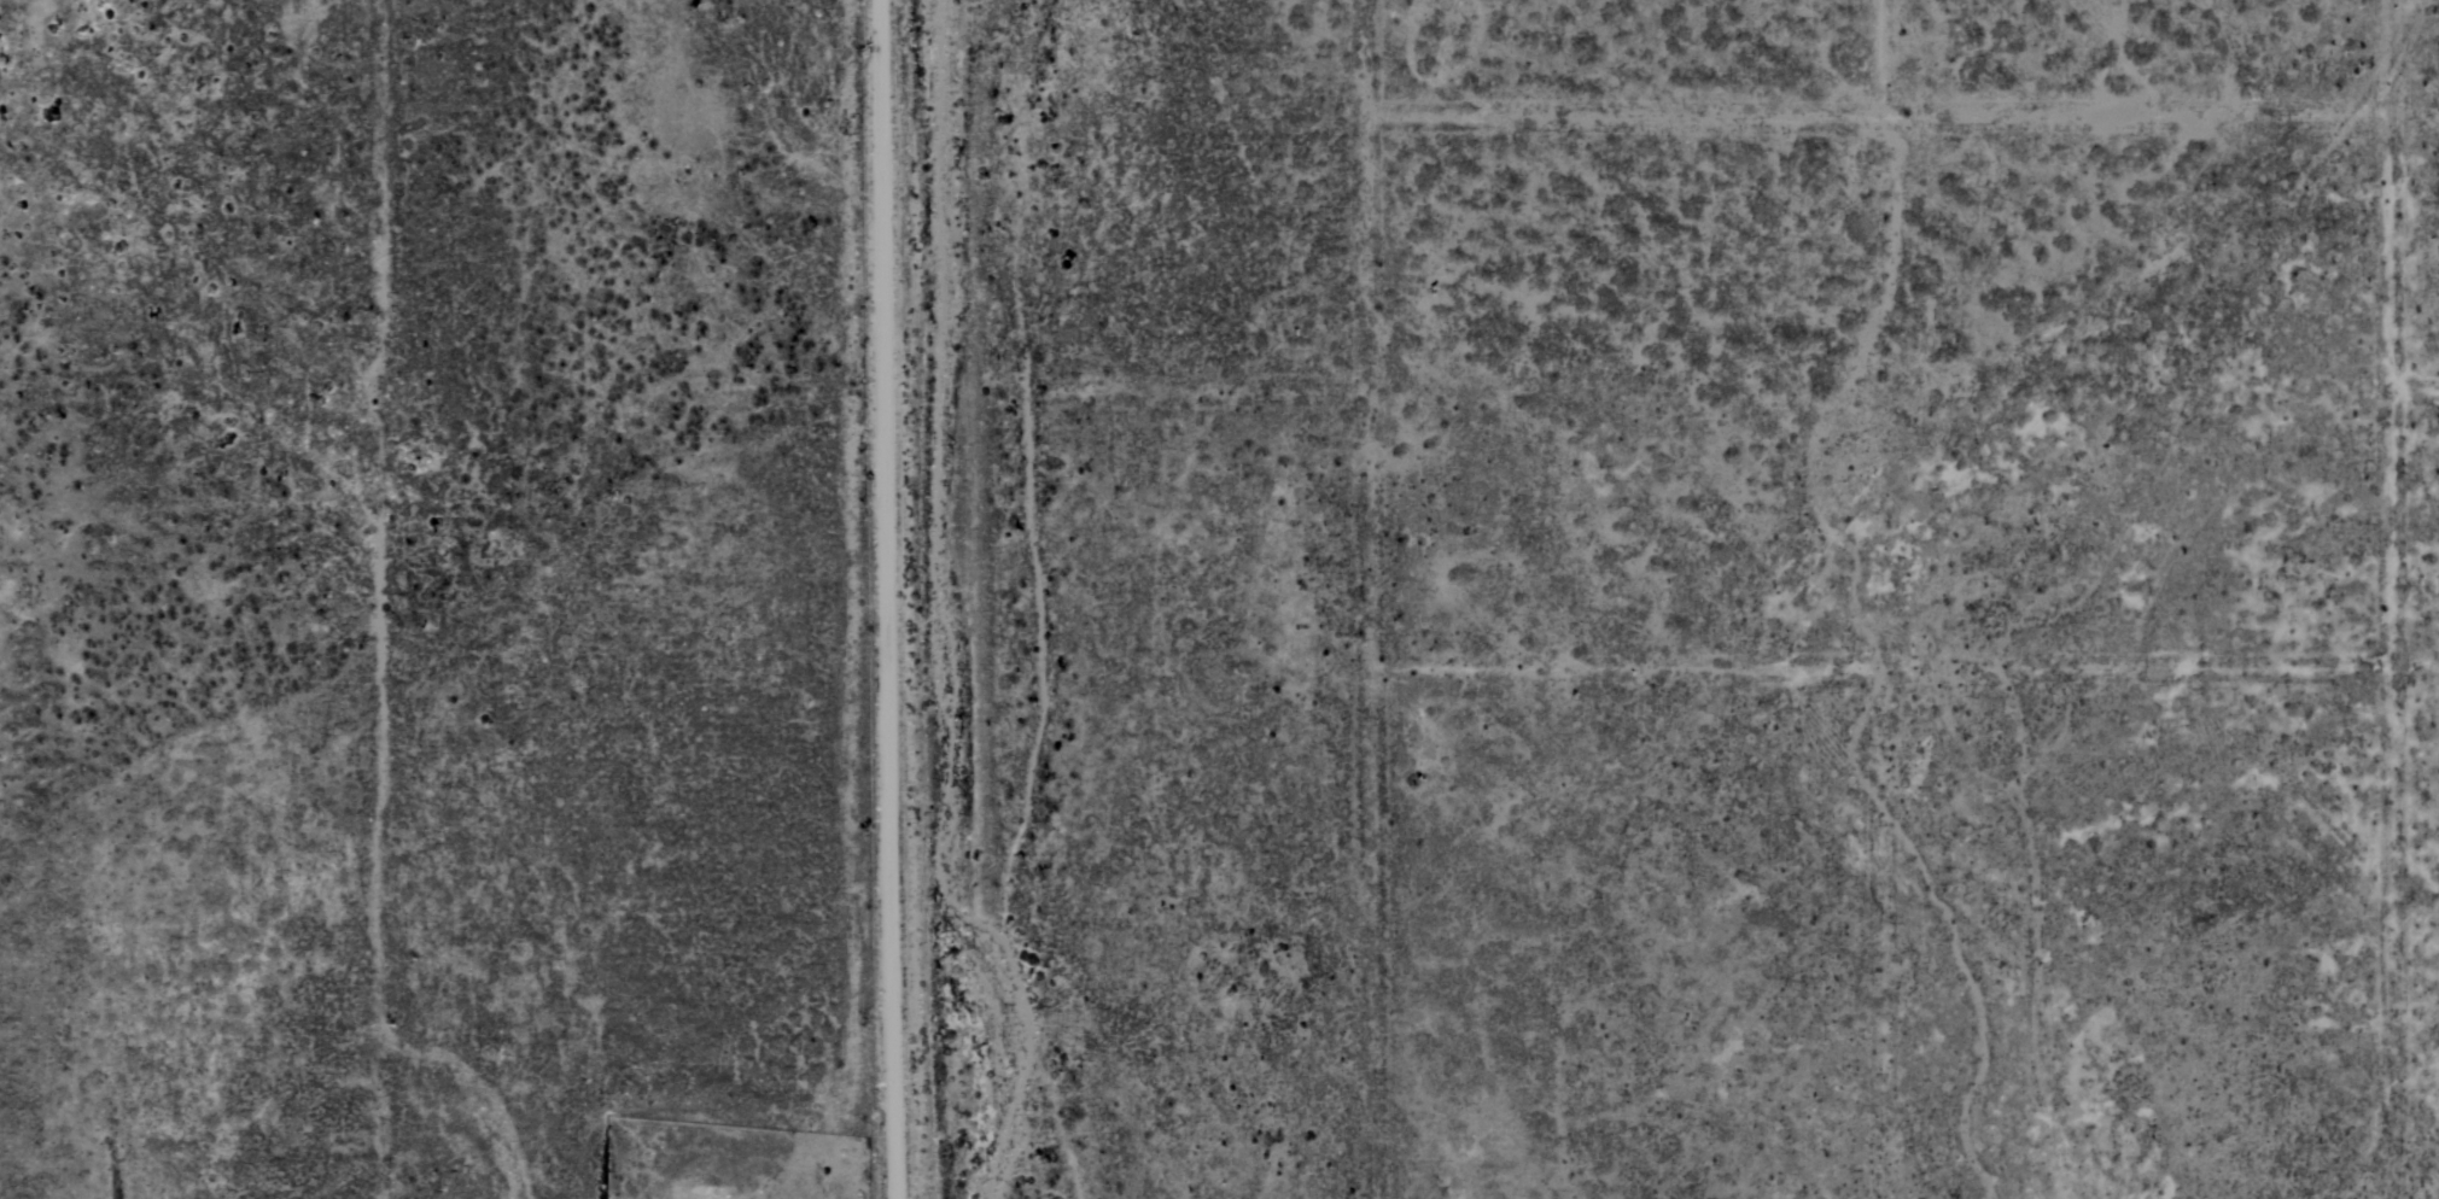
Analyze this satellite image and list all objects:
road: (885, 598)

